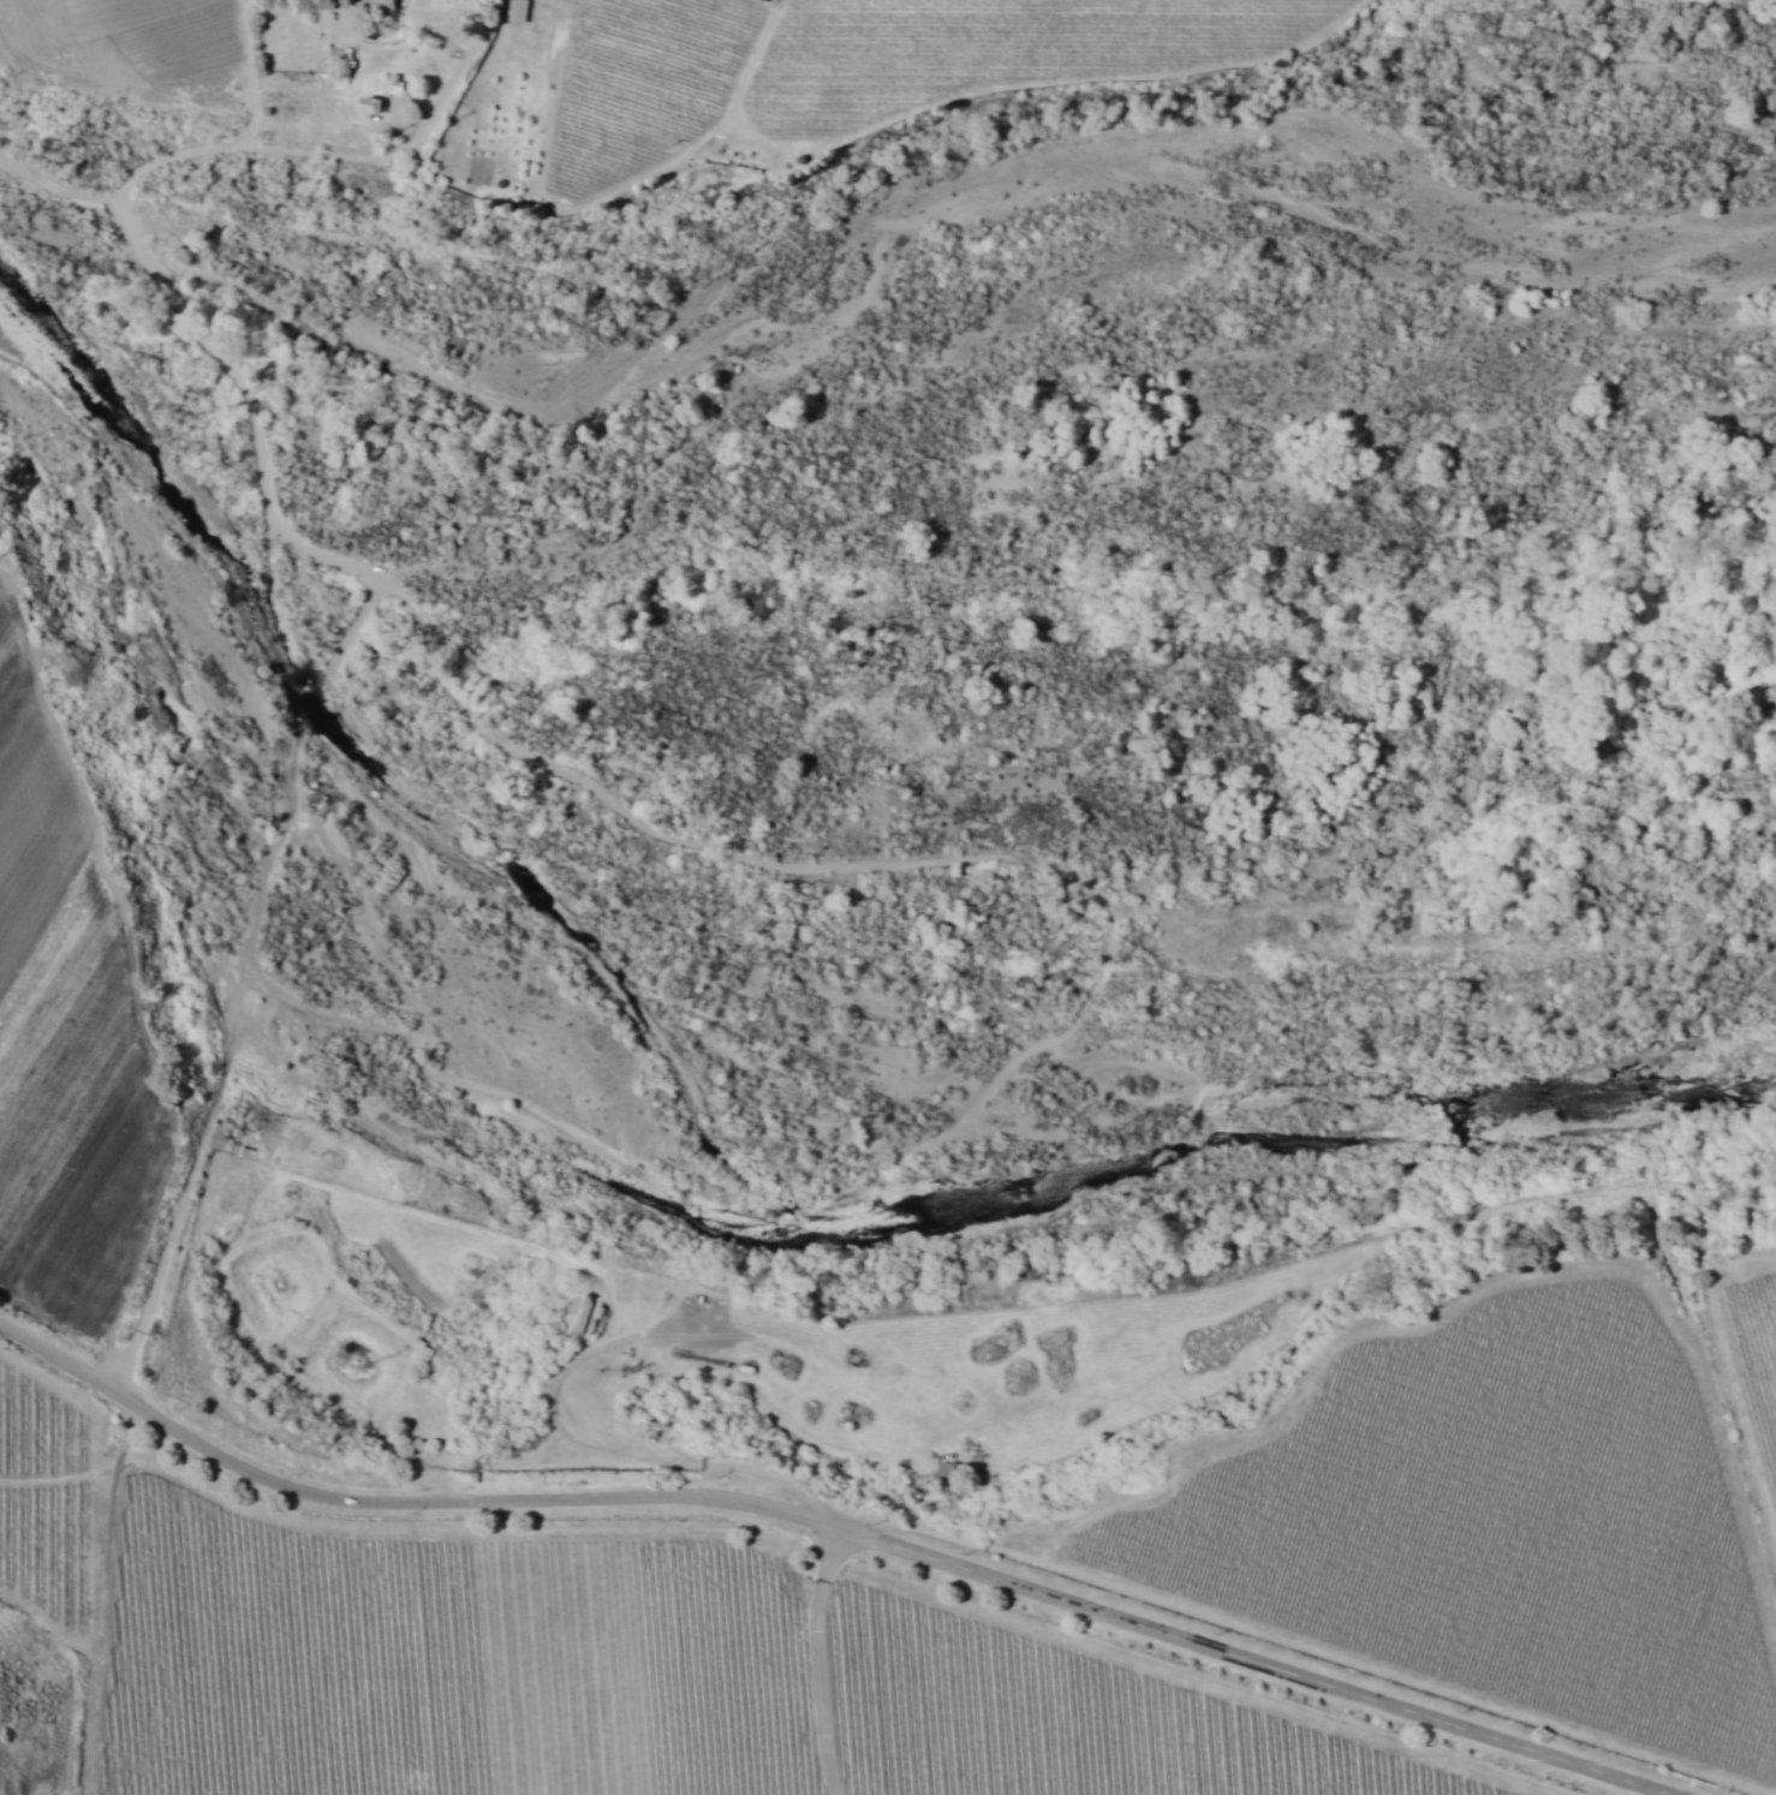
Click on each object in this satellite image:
building: (763, 0)
crop: (71, 1)
building: (374, 5)
building: (512, 10)
crop: (213, 53)
crop: (813, 71)
building: (364, 105)
road: (257, 473)
river: (717, 1083)
crop: (85, 1199)
building: (421, 1349)
road: (440, 1367)
road: (823, 1525)
road: (322, 1677)

